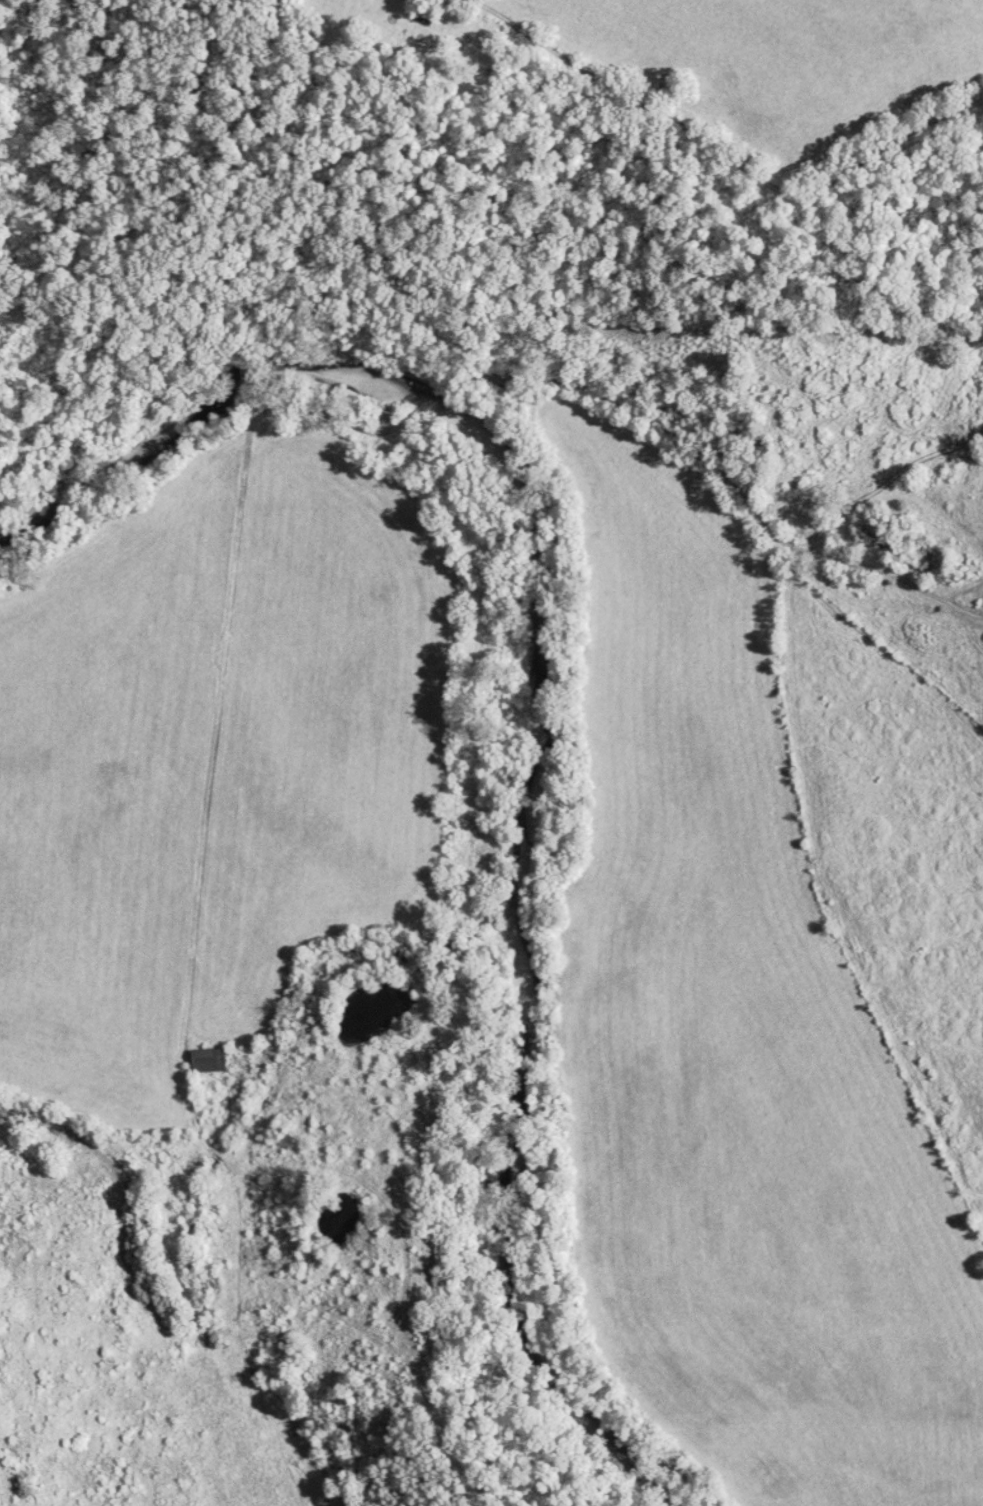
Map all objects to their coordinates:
road: (715, 129)
road: (761, 516)

